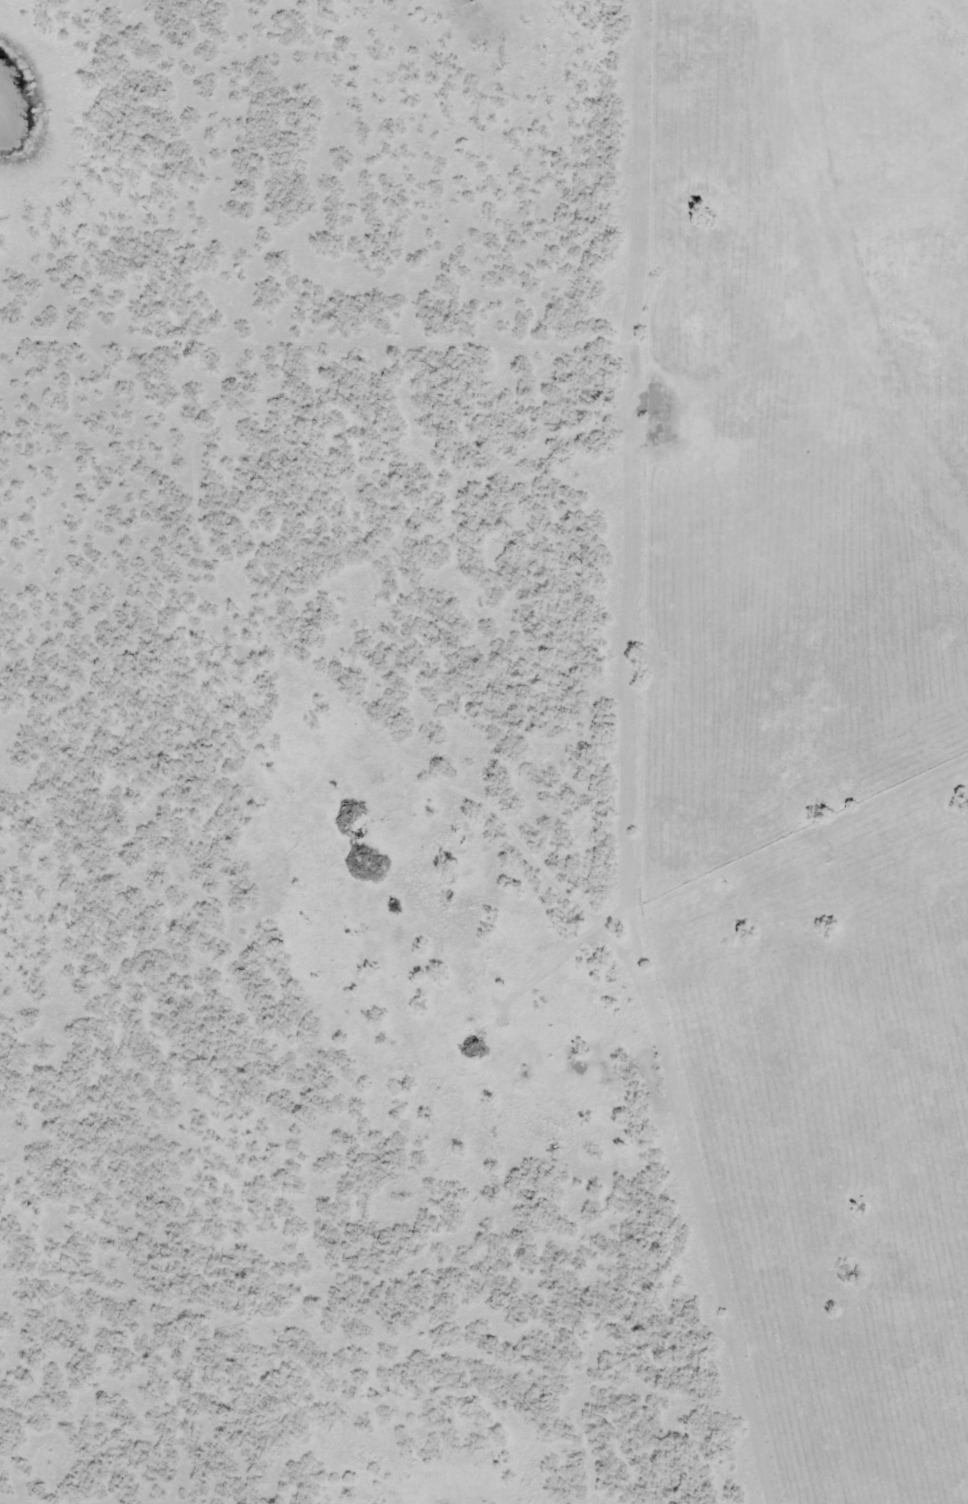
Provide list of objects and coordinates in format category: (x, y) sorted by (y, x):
road: (409, 720)

